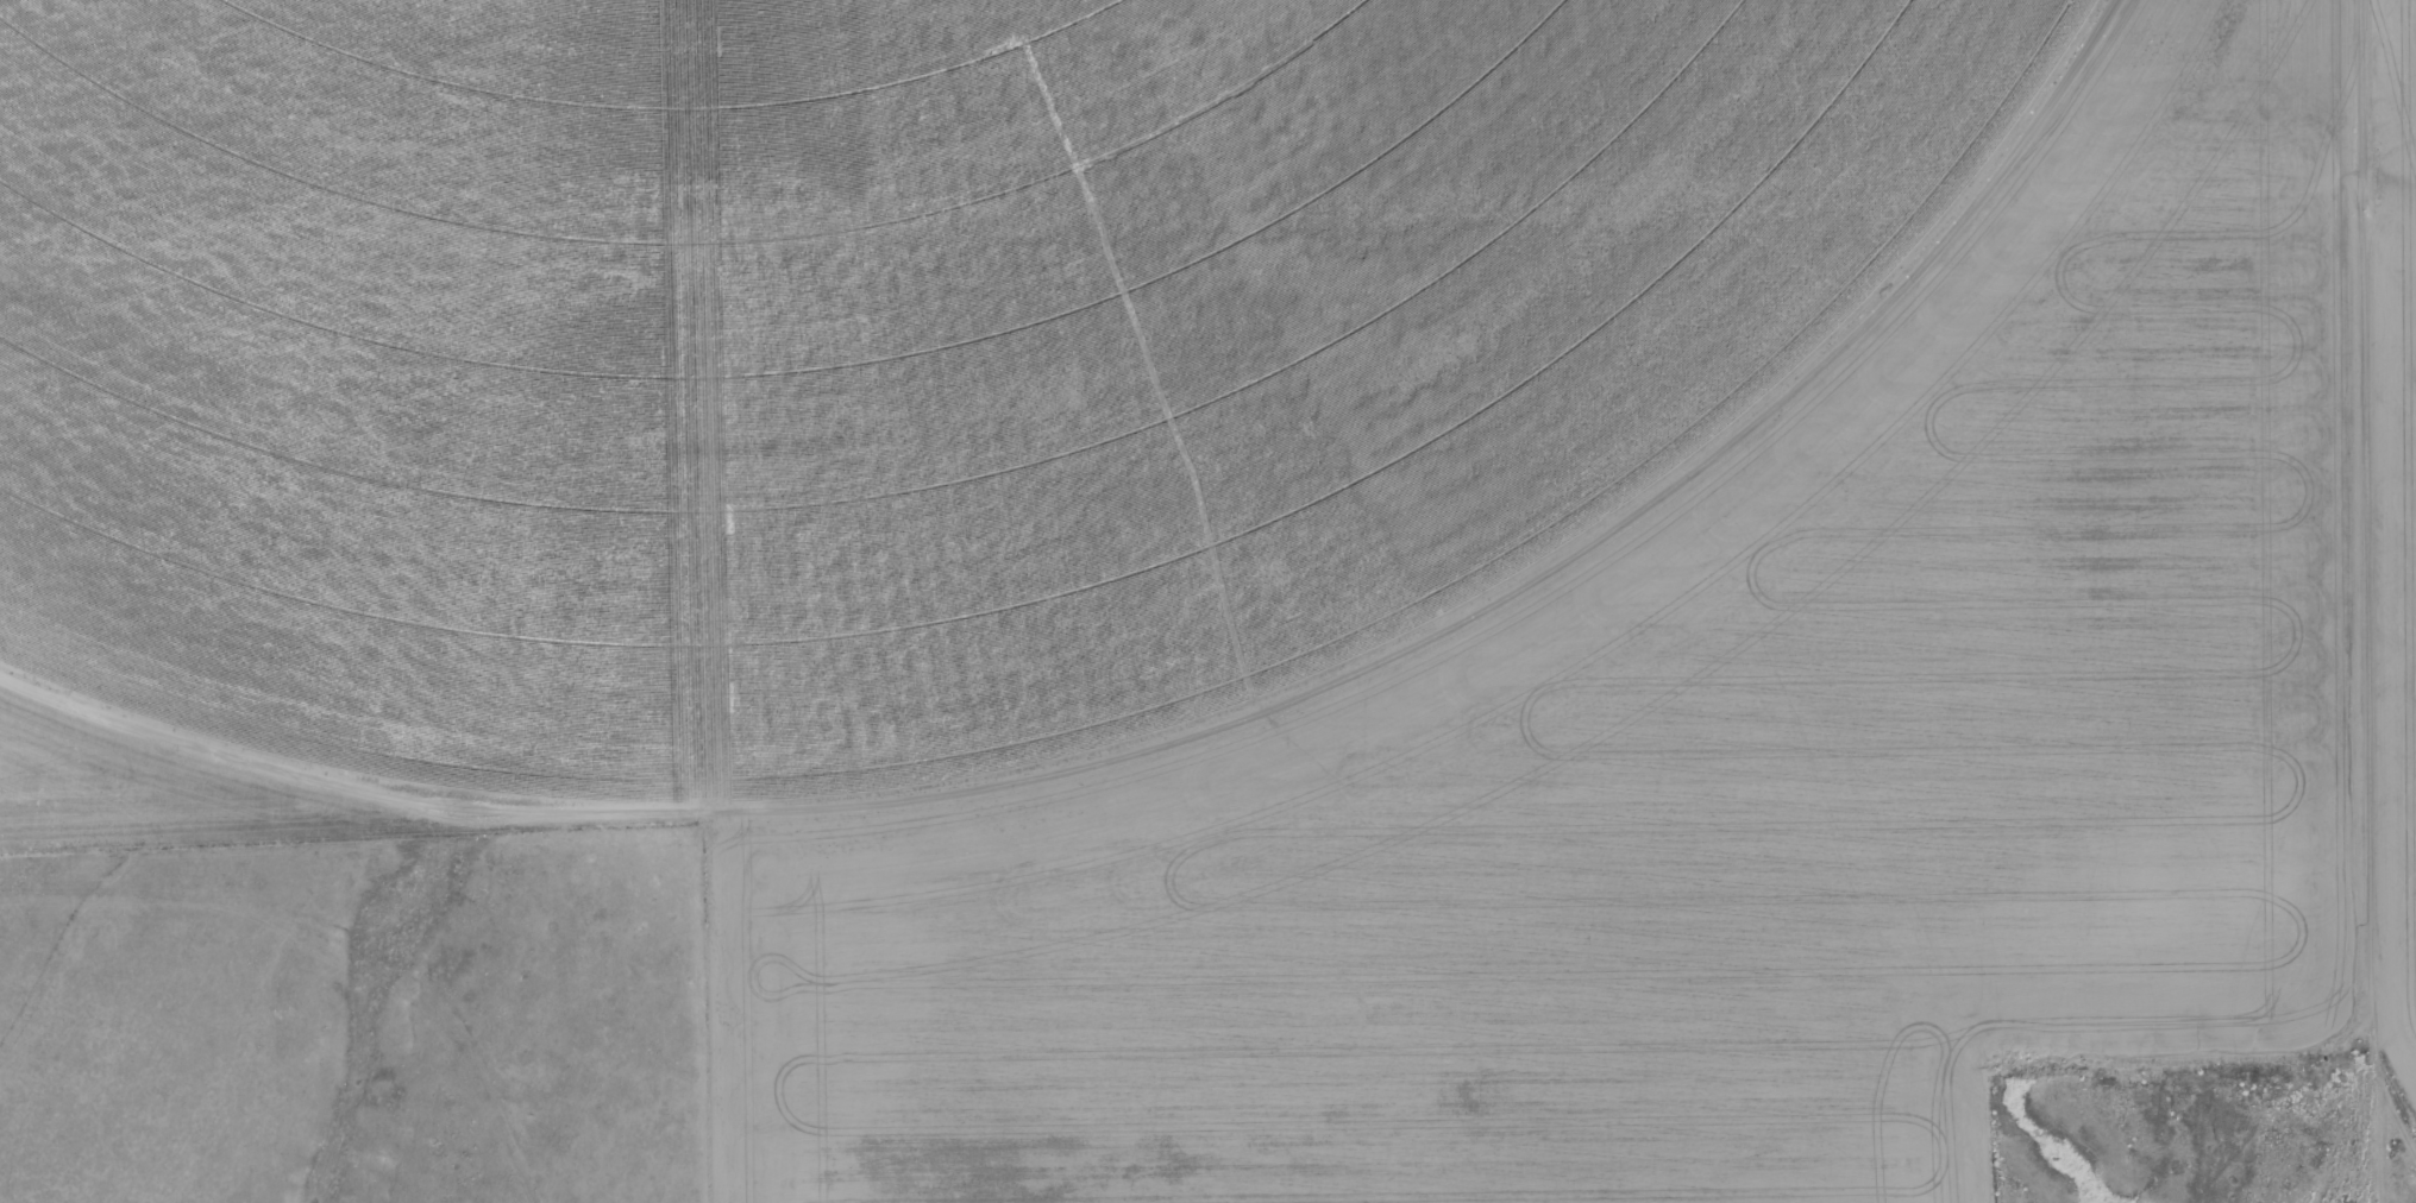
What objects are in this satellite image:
road: (1217, 209)
road: (2347, 605)

